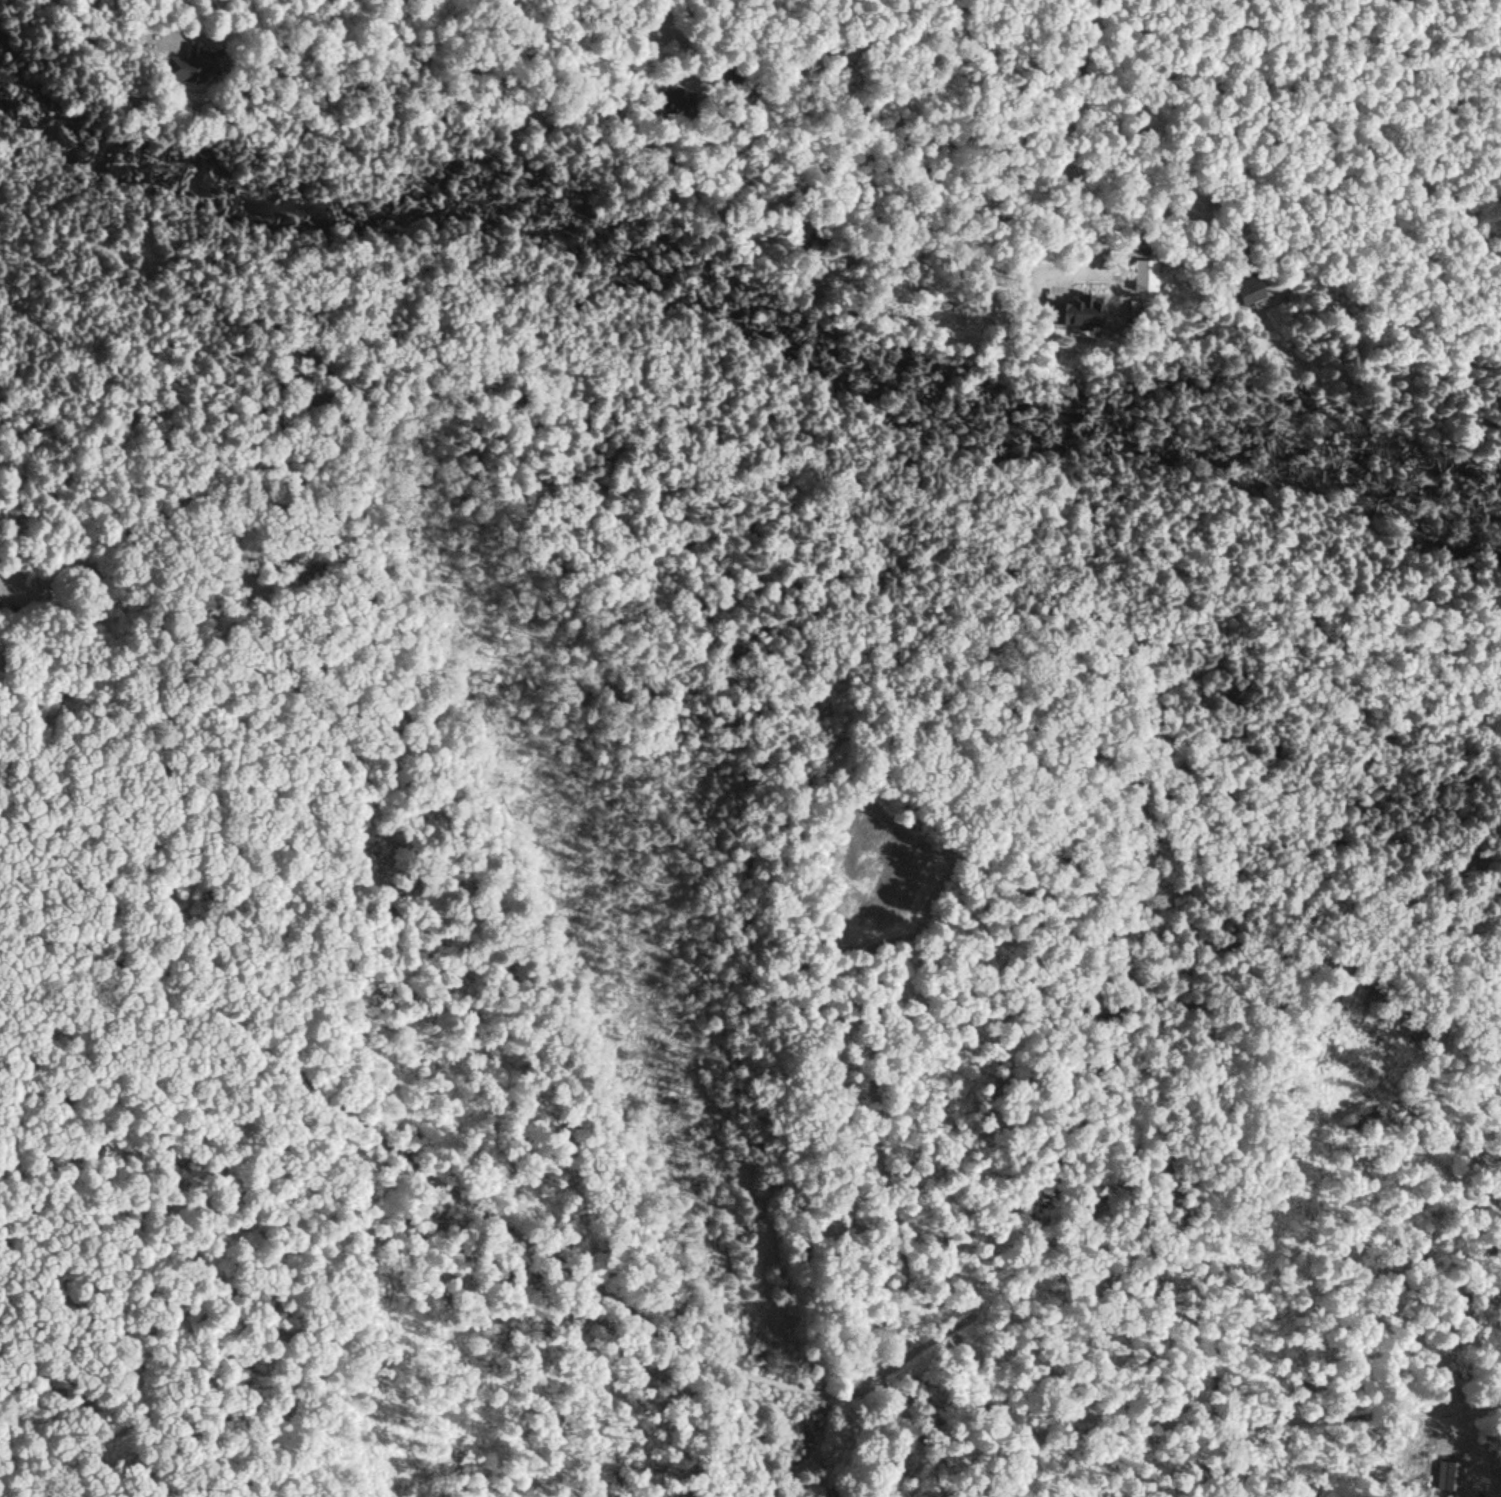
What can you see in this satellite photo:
building: (197, 63)
building: (674, 99)
building: (1244, 288)
river: (729, 289)
building: (1074, 309)
building: (2, 605)
road: (379, 1130)
road: (768, 1378)
road: (1148, 1418)

